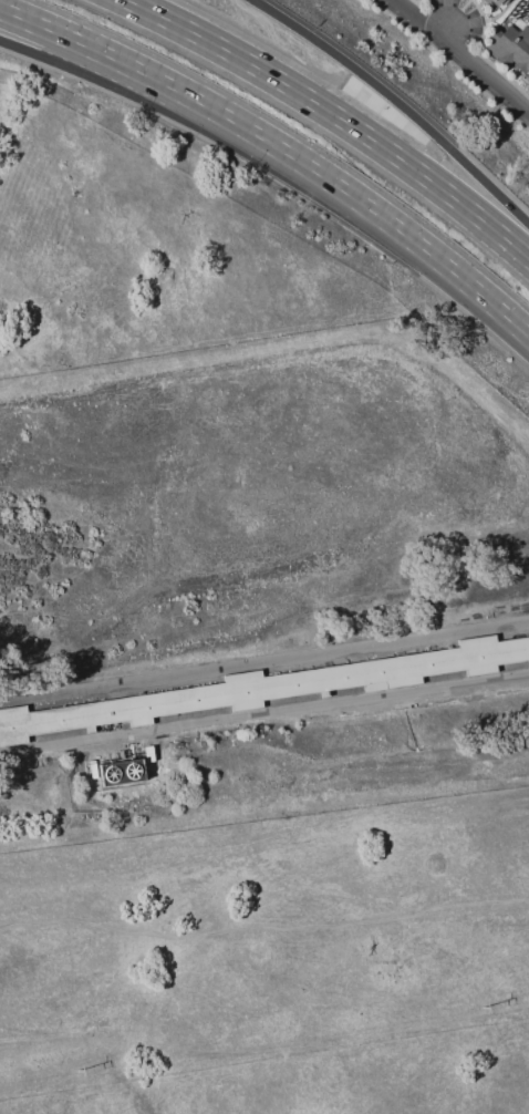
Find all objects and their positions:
building: (495, 1)
road: (417, 18)
building: (509, 48)
road: (483, 69)
road: (397, 101)
road: (338, 115)
road: (201, 126)
road: (279, 151)
road: (264, 662)
building: (266, 689)
road: (263, 714)
building: (149, 756)
building: (93, 772)
building: (123, 774)

